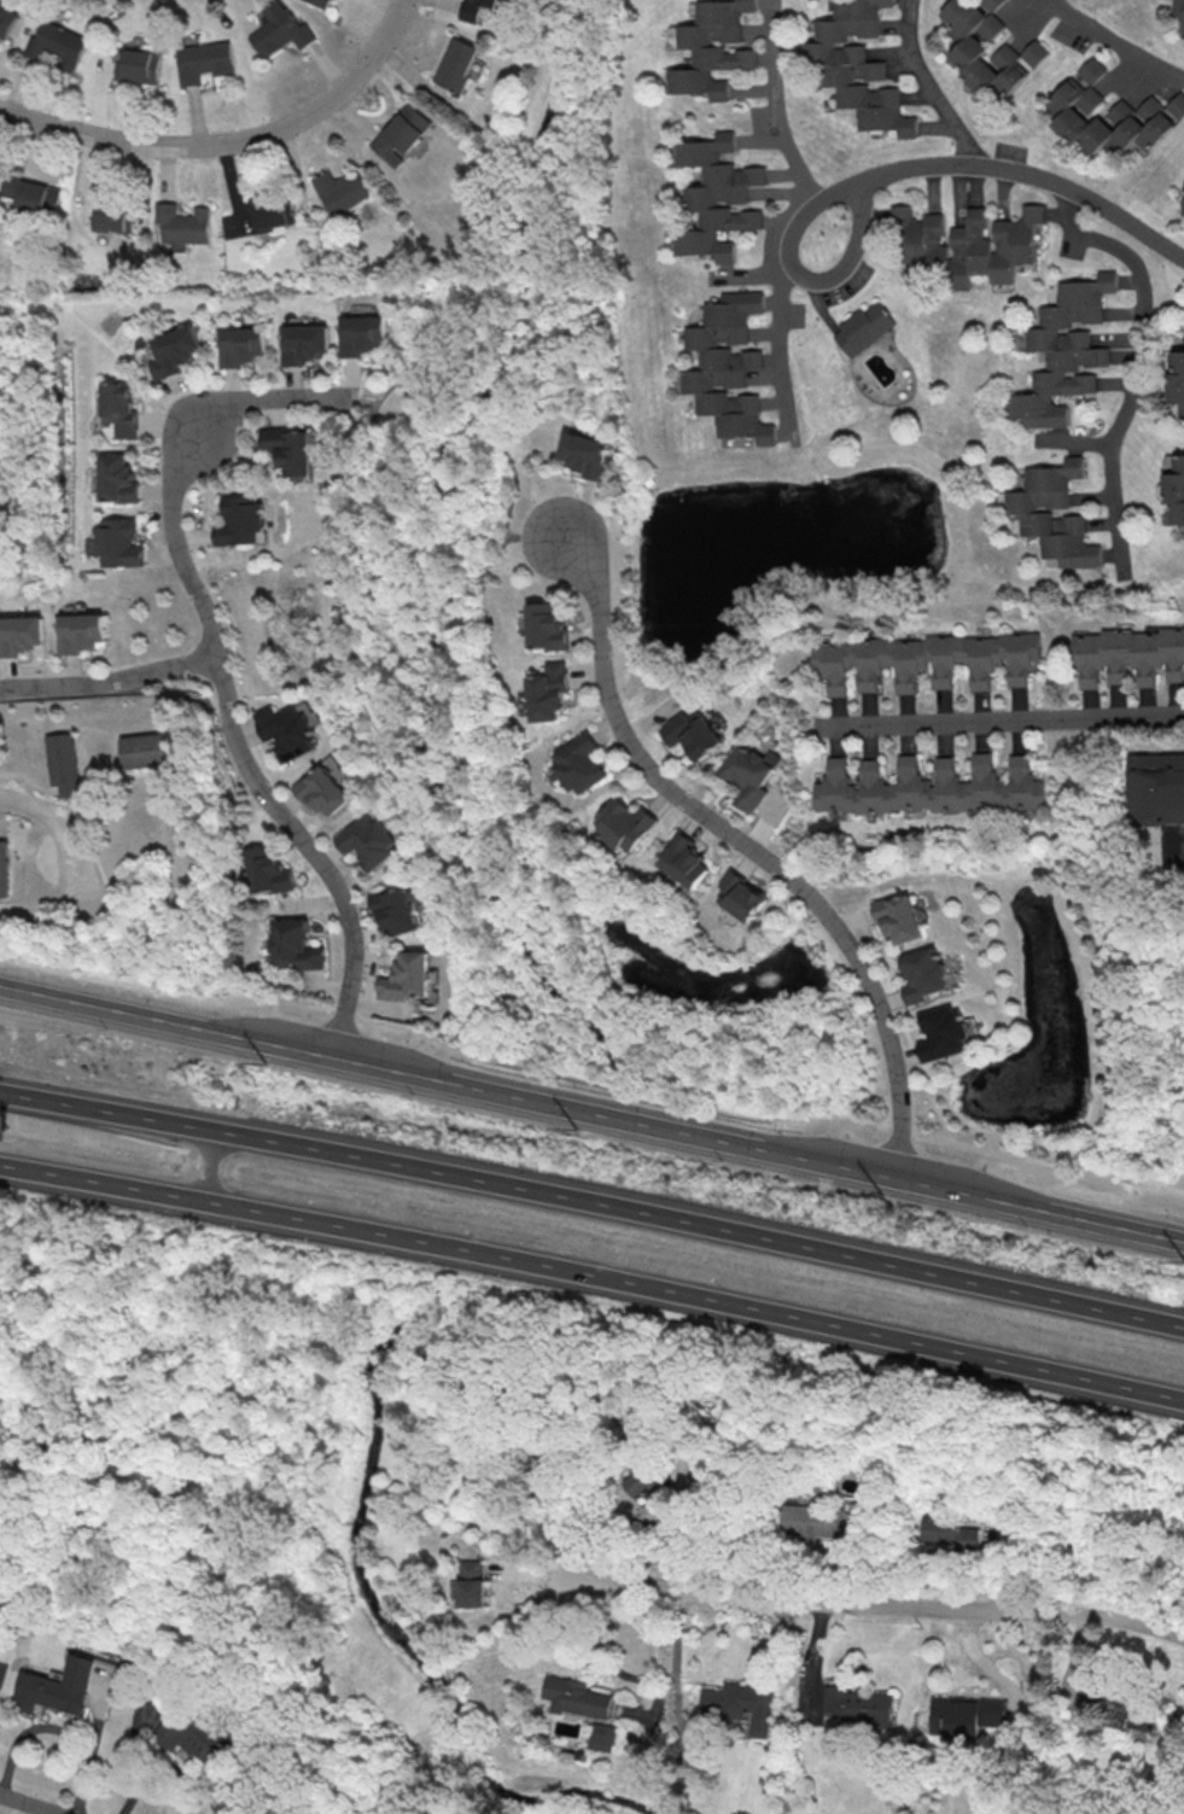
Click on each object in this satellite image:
building: (331, 1)
park: (130, 4)
building: (1178, 11)
building: (6, 21)
building: (280, 30)
road: (1115, 41)
building: (57, 45)
building: (712, 48)
building: (988, 48)
building: (457, 63)
building: (140, 64)
building: (856, 65)
road: (928, 86)
building: (1108, 115)
road: (781, 123)
road: (229, 142)
road: (1002, 170)
building: (342, 191)
building: (30, 193)
building: (717, 196)
building: (272, 212)
building: (111, 217)
building: (181, 223)
building: (918, 234)
building: (993, 243)
road: (776, 309)
road: (521, 320)
building: (864, 329)
building: (362, 334)
building: (303, 343)
building: (240, 345)
building: (1063, 350)
building: (173, 351)
road: (1141, 362)
building: (725, 366)
building: (1177, 383)
road: (369, 401)
building: (116, 407)
building: (291, 449)
building: (588, 454)
building: (115, 479)
building: (2, 490)
building: (1174, 490)
road: (345, 512)
building: (1028, 512)
building: (241, 520)
road: (536, 536)
building: (117, 543)
building: (547, 626)
building: (81, 631)
building: (21, 635)
building: (1127, 657)
building: (920, 660)
road: (218, 670)
road: (109, 679)
building: (548, 692)
road: (1001, 721)
building: (287, 729)
building: (692, 733)
road: (434, 747)
building: (146, 749)
building: (578, 763)
building: (65, 764)
building: (751, 771)
building: (925, 787)
building: (322, 791)
road: (504, 794)
building: (1160, 805)
building: (624, 824)
road: (64, 829)
building: (369, 840)
road: (751, 848)
building: (684, 859)
building: (5, 868)
building: (266, 871)
building: (740, 896)
building: (396, 910)
building: (898, 917)
building: (293, 945)
building: (925, 974)
building: (408, 978)
road: (246, 995)
building: (943, 1032)
road: (275, 1046)
power tower: (261, 1061)
road: (629, 1089)
road: (572, 1112)
power tower: (567, 1128)
road: (226, 1133)
road: (978, 1147)
road: (203, 1165)
road: (890, 1178)
road: (495, 1185)
power tower: (873, 1191)
road: (212, 1201)
road: (459, 1249)
power tower: (1177, 1259)
road: (861, 1261)
road: (838, 1330)
road: (587, 1457)
building: (806, 1521)
building: (938, 1528)
building: (471, 1583)
road: (880, 1604)
road: (671, 1669)
building: (57, 1688)
building: (576, 1698)
building: (736, 1705)
building: (857, 1705)
building: (1121, 1709)
building: (962, 1716)
building: (198, 1734)
building: (601, 1737)
road: (161, 1762)
road: (28, 1804)

